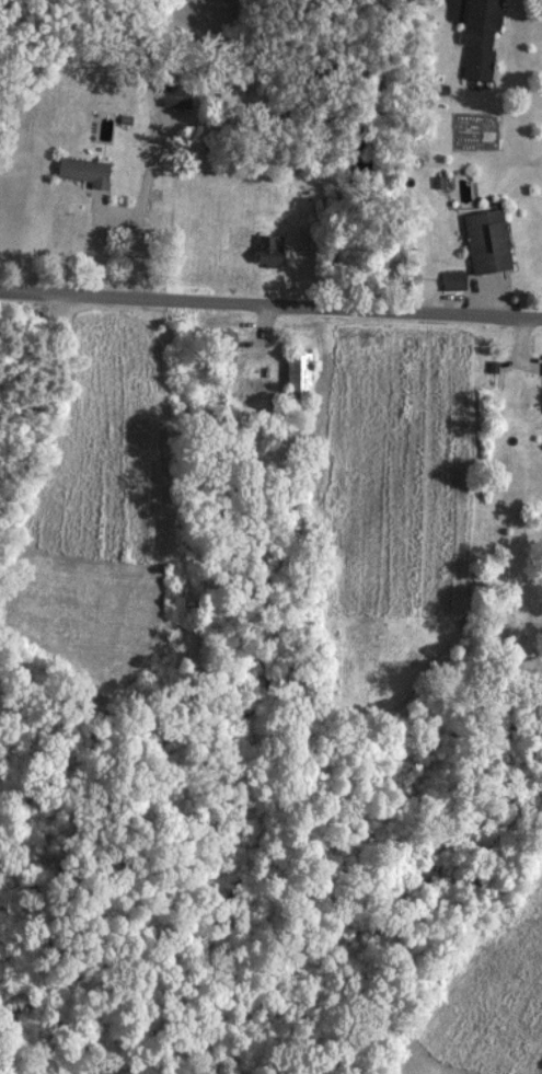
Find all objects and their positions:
building: (477, 36)
building: (174, 95)
building: (82, 171)
road: (146, 188)
building: (485, 241)
building: (267, 249)
road: (102, 257)
building: (451, 280)
road: (270, 304)
building: (224, 339)
building: (297, 374)

